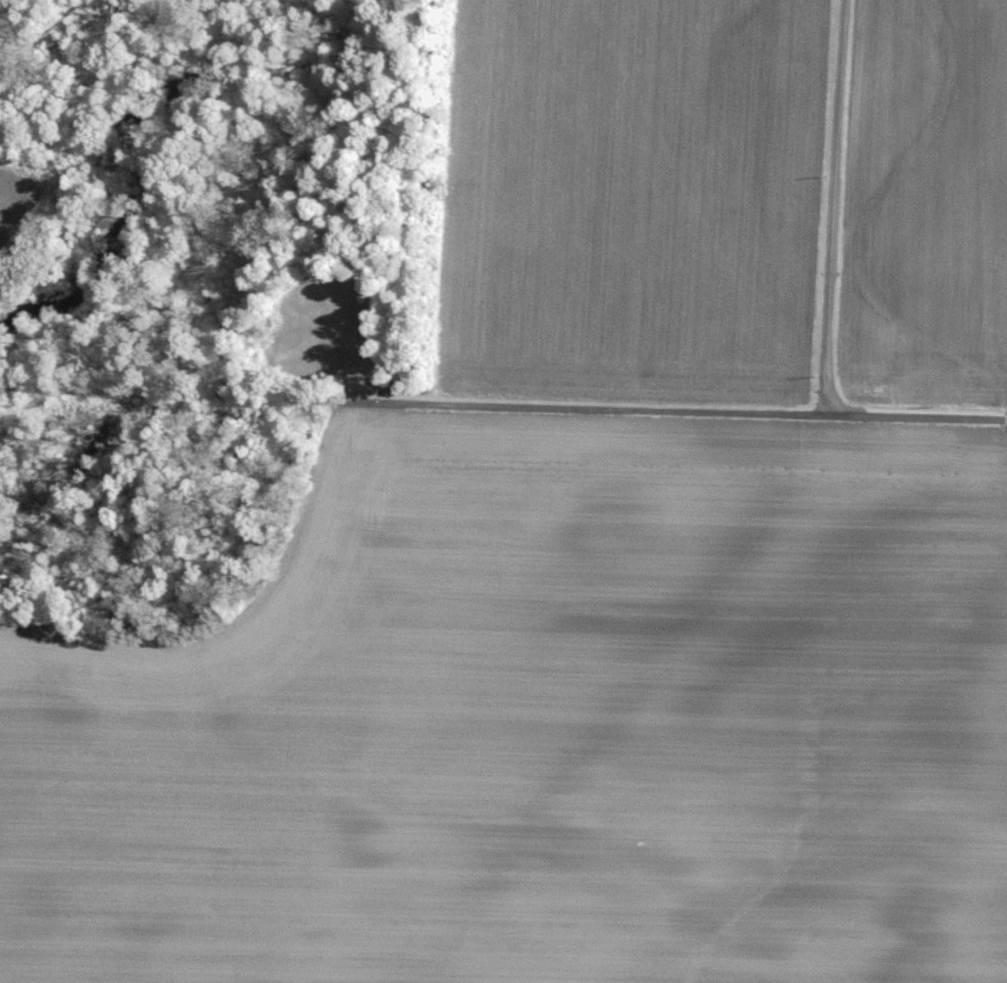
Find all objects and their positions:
road: (831, 207)
road: (503, 404)

